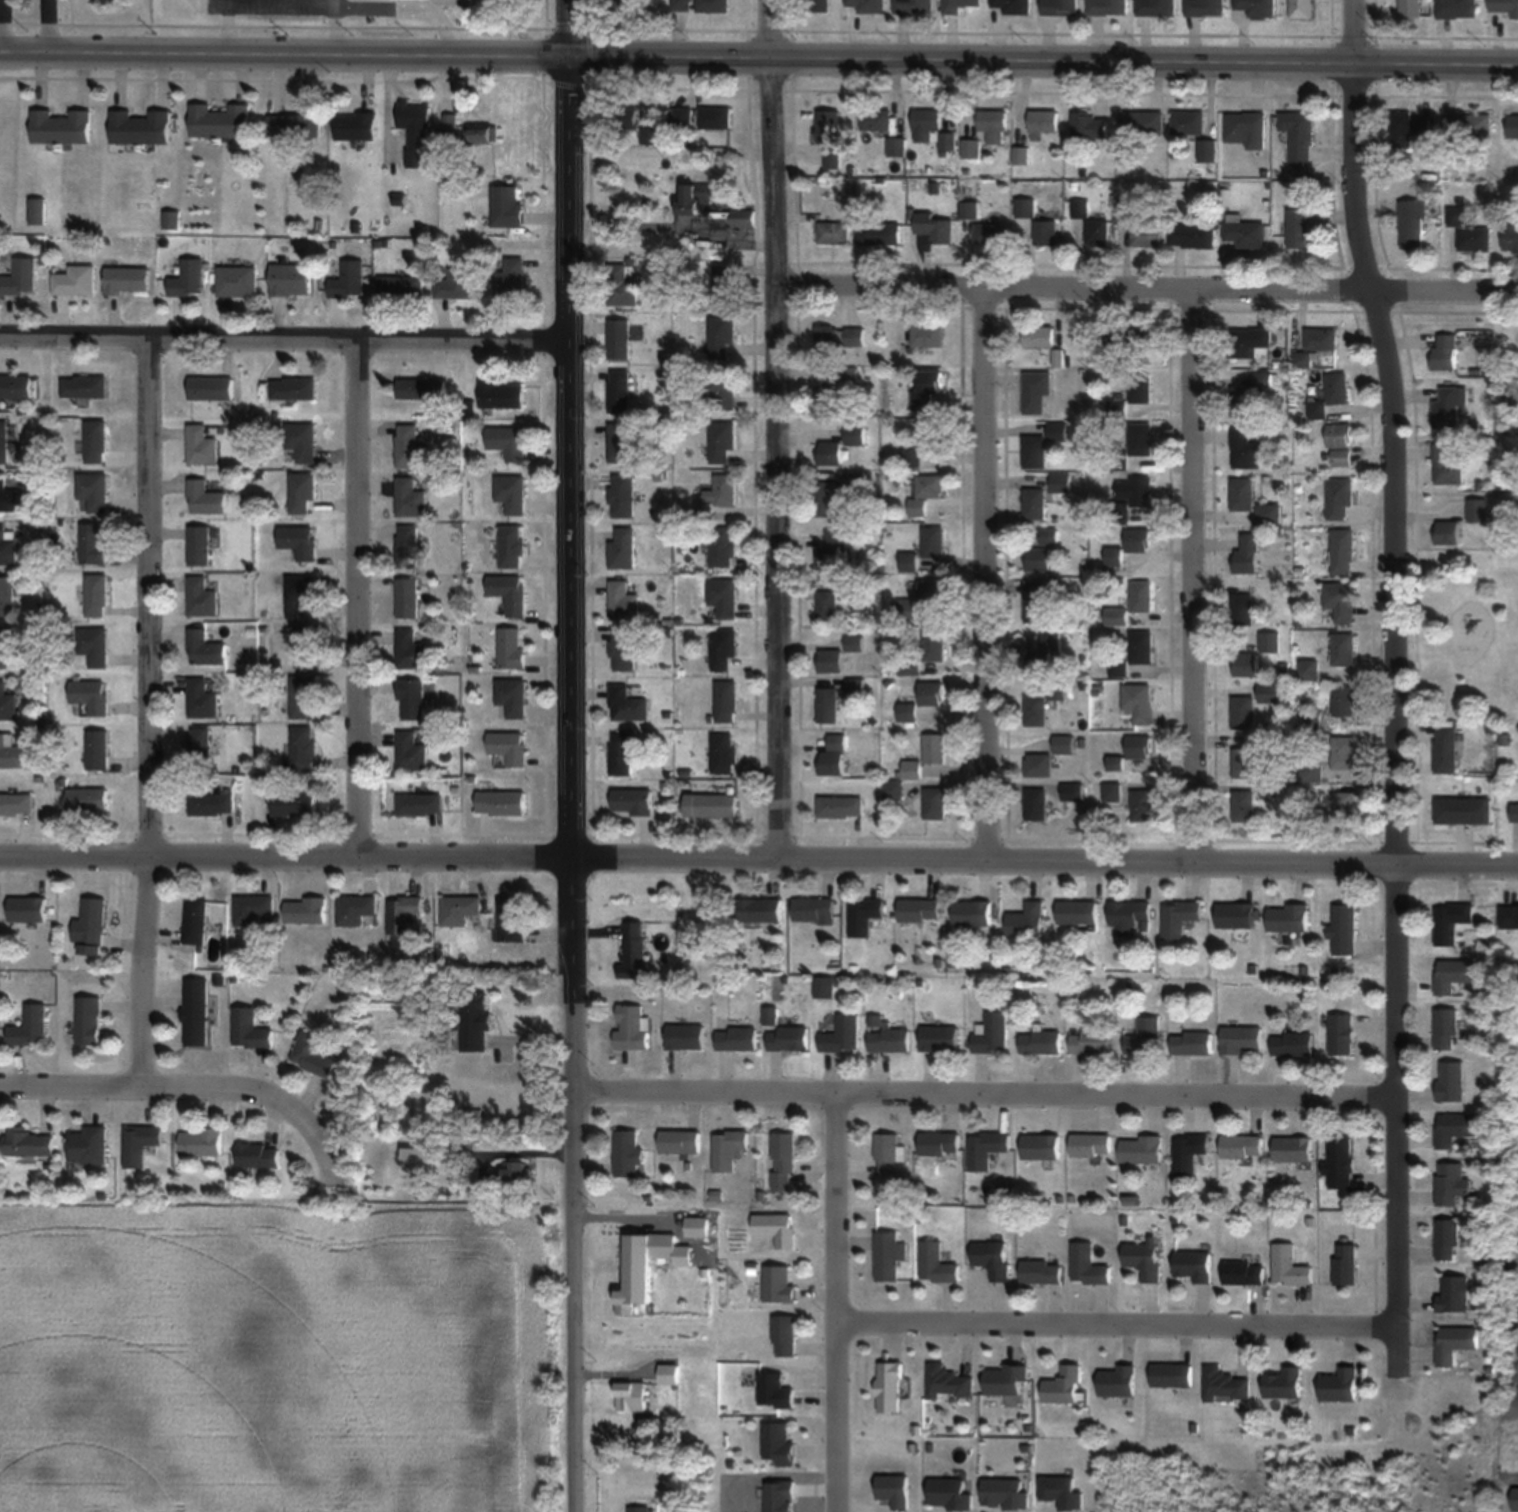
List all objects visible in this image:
building: (622, 5)
building: (679, 5)
building: (818, 5)
building: (867, 5)
building: (957, 5)
building: (711, 6)
building: (914, 6)
building: (1011, 6)
building: (1059, 7)
building: (1107, 7)
building: (1156, 7)
building: (1204, 7)
building: (1256, 7)
building: (1504, 7)
building: (1301, 8)
building: (1410, 8)
building: (1456, 8)
road: (587, 15)
road: (543, 16)
road: (2, 25)
road: (47, 25)
road: (223, 26)
road: (333, 27)
road: (566, 29)
road: (283, 54)
road: (1042, 60)
building: (682, 116)
building: (714, 117)
building: (621, 118)
building: (218, 120)
building: (1043, 120)
building: (1141, 121)
building: (1188, 121)
building: (293, 124)
building: (925, 124)
building: (1088, 124)
building: (1467, 124)
building: (994, 125)
building: (61, 126)
building: (827, 126)
building: (1512, 126)
building: (139, 127)
building: (355, 127)
building: (1410, 127)
building: (1246, 128)
building: (883, 130)
building: (415, 131)
building: (484, 133)
building: (652, 135)
building: (1299, 138)
building: (970, 148)
building: (1207, 150)
building: (1021, 155)
building: (832, 159)
building: (695, 197)
building: (506, 205)
building: (1025, 207)
building: (969, 208)
building: (1080, 208)
building: (1125, 209)
building: (37, 211)
building: (742, 217)
building: (1412, 223)
road: (642, 226)
building: (933, 227)
building: (1300, 228)
building: (834, 232)
building: (1046, 232)
building: (1098, 232)
building: (1246, 233)
building: (879, 234)
building: (991, 234)
building: (1147, 235)
building: (1192, 236)
building: (1511, 237)
building: (1475, 238)
building: (21, 278)
building: (510, 278)
building: (188, 279)
building: (290, 279)
building: (347, 279)
building: (127, 280)
building: (236, 280)
building: (76, 281)
building: (456, 285)
building: (723, 285)
building: (400, 286)
building: (621, 286)
road: (1146, 286)
building: (928, 335)
building: (721, 336)
building: (1038, 336)
building: (840, 337)
building: (619, 338)
building: (1121, 340)
building: (1251, 341)
road: (283, 344)
building: (1317, 346)
building: (1444, 351)
building: (16, 387)
building: (84, 387)
building: (292, 388)
building: (421, 388)
building: (925, 388)
building: (1339, 388)
building: (210, 389)
building: (723, 389)
building: (619, 391)
building: (1036, 391)
building: (1140, 392)
building: (825, 393)
building: (501, 394)
building: (1244, 401)
building: (1450, 406)
road: (775, 428)
building: (855, 434)
building: (1340, 434)
building: (933, 437)
building: (1140, 438)
building: (302, 441)
building: (508, 441)
building: (722, 441)
building: (96, 442)
building: (4, 443)
building: (622, 443)
building: (201, 445)
building: (407, 445)
building: (1042, 445)
building: (1245, 449)
building: (830, 452)
building: (1343, 456)
building: (912, 457)
building: (1449, 463)
building: (1061, 482)
building: (722, 490)
building: (1136, 490)
building: (94, 491)
building: (302, 493)
building: (511, 493)
building: (926, 493)
building: (1243, 493)
building: (622, 495)
building: (409, 497)
building: (11, 498)
building: (204, 498)
building: (828, 498)
building: (1341, 498)
building: (1035, 502)
building: (1479, 509)
building: (1270, 512)
building: (1448, 532)
building: (1049, 536)
building: (1139, 539)
building: (301, 541)
building: (934, 542)
building: (93, 543)
building: (199, 545)
building: (8, 546)
building: (407, 546)
building: (512, 546)
building: (723, 546)
building: (623, 548)
building: (1343, 551)
building: (833, 552)
building: (1248, 554)
building: (1038, 558)
building: (909, 562)
road: (984, 572)
road: (1193, 574)
building: (931, 590)
building: (509, 592)
building: (304, 594)
building: (7, 595)
building: (97, 595)
building: (723, 596)
building: (1142, 596)
building: (202, 597)
building: (407, 598)
building: (1341, 600)
building: (623, 601)
building: (1035, 601)
road: (357, 603)
building: (828, 604)
building: (1244, 608)
building: (1117, 616)
park: (1469, 633)
building: (1270, 641)
building: (934, 645)
building: (94, 646)
building: (305, 646)
building: (1141, 646)
building: (4, 647)
building: (511, 647)
building: (205, 648)
road: (1394, 648)
building: (723, 649)
building: (1344, 649)
building: (623, 650)
building: (410, 651)
building: (1044, 654)
building: (830, 660)
building: (1246, 664)
building: (1119, 668)
building: (1310, 669)
building: (856, 687)
building: (1270, 692)
building: (931, 693)
building: (303, 696)
building: (512, 696)
building: (203, 698)
building: (95, 699)
building: (411, 700)
building: (1344, 700)
building: (726, 701)
building: (1138, 702)
building: (7, 703)
building: (627, 704)
building: (827, 704)
building: (1036, 709)
building: (908, 711)
building: (1244, 712)
road: (151, 719)
building: (1064, 743)
building: (200, 745)
building: (1140, 746)
building: (509, 747)
building: (935, 748)
building: (303, 749)
building: (1447, 749)
building: (98, 750)
building: (11, 752)
building: (411, 752)
building: (1345, 752)
building: (621, 753)
building: (722, 753)
building: (833, 756)
building: (1244, 762)
building: (1116, 763)
building: (1039, 764)
building: (912, 769)
road: (569, 785)
building: (894, 790)
building: (1073, 791)
building: (1112, 791)
building: (88, 801)
building: (632, 801)
building: (501, 803)
building: (935, 803)
building: (16, 804)
building: (212, 804)
building: (294, 804)
building: (420, 804)
building: (711, 804)
building: (1036, 804)
building: (1143, 805)
building: (1244, 805)
building: (1345, 805)
building: (840, 806)
building: (1465, 810)
building: (1515, 813)
road: (758, 857)
building: (28, 909)
building: (305, 909)
building: (356, 909)
building: (459, 909)
building: (760, 909)
building: (814, 910)
building: (919, 910)
building: (254, 911)
building: (1077, 912)
building: (404, 913)
building: (972, 913)
building: (1130, 913)
building: (1239, 914)
building: (864, 915)
building: (1509, 916)
building: (1180, 917)
building: (1289, 917)
building: (511, 918)
building: (1027, 920)
building: (1452, 920)
building: (196, 922)
building: (92, 926)
building: (1344, 929)
building: (635, 951)
building: (1455, 974)
building: (196, 1012)
building: (89, 1020)
building: (474, 1022)
building: (30, 1027)
building: (632, 1027)
building: (1448, 1028)
building: (250, 1029)
building: (991, 1033)
building: (1343, 1033)
building: (842, 1034)
building: (686, 1036)
building: (1145, 1036)
building: (737, 1037)
building: (788, 1038)
building: (939, 1038)
building: (1242, 1039)
building: (889, 1040)
building: (1091, 1040)
building: (1041, 1041)
building: (1192, 1042)
building: (1293, 1043)
building: (313, 1055)
building: (1452, 1081)
road: (195, 1095)
road: (985, 1098)
building: (1456, 1128)
building: (680, 1140)
building: (27, 1142)
building: (202, 1142)
building: (141, 1143)
building: (939, 1144)
building: (1091, 1144)
building: (89, 1145)
building: (1041, 1146)
building: (1243, 1146)
building: (986, 1148)
building: (1142, 1148)
building: (1293, 1148)
building: (729, 1150)
building: (888, 1152)
building: (1189, 1152)
building: (629, 1153)
building: (258, 1155)
building: (427, 1155)
building: (783, 1162)
building: (1341, 1162)
building: (516, 1171)
building: (1452, 1182)
building: (777, 1228)
building: (1448, 1239)
building: (889, 1255)
building: (992, 1258)
building: (1145, 1258)
building: (937, 1263)
building: (1346, 1263)
building: (1088, 1264)
building: (645, 1265)
building: (1195, 1265)
building: (1290, 1266)
building: (1040, 1271)
building: (1244, 1272)
building: (779, 1283)
crop: (1512, 1289)
building: (1454, 1293)
road: (838, 1304)
road: (1398, 1313)
road: (1118, 1323)
building: (785, 1335)
building: (1455, 1343)
road: (1397, 1353)
crop: (284, 1358)
building: (670, 1374)
building: (1172, 1374)
building: (1005, 1378)
building: (1117, 1381)
building: (948, 1382)
building: (1283, 1383)
building: (1065, 1385)
building: (1226, 1385)
building: (1341, 1385)
building: (889, 1386)
building: (632, 1395)
building: (779, 1443)
building: (950, 1494)
building: (1006, 1494)
building: (641, 1509)

